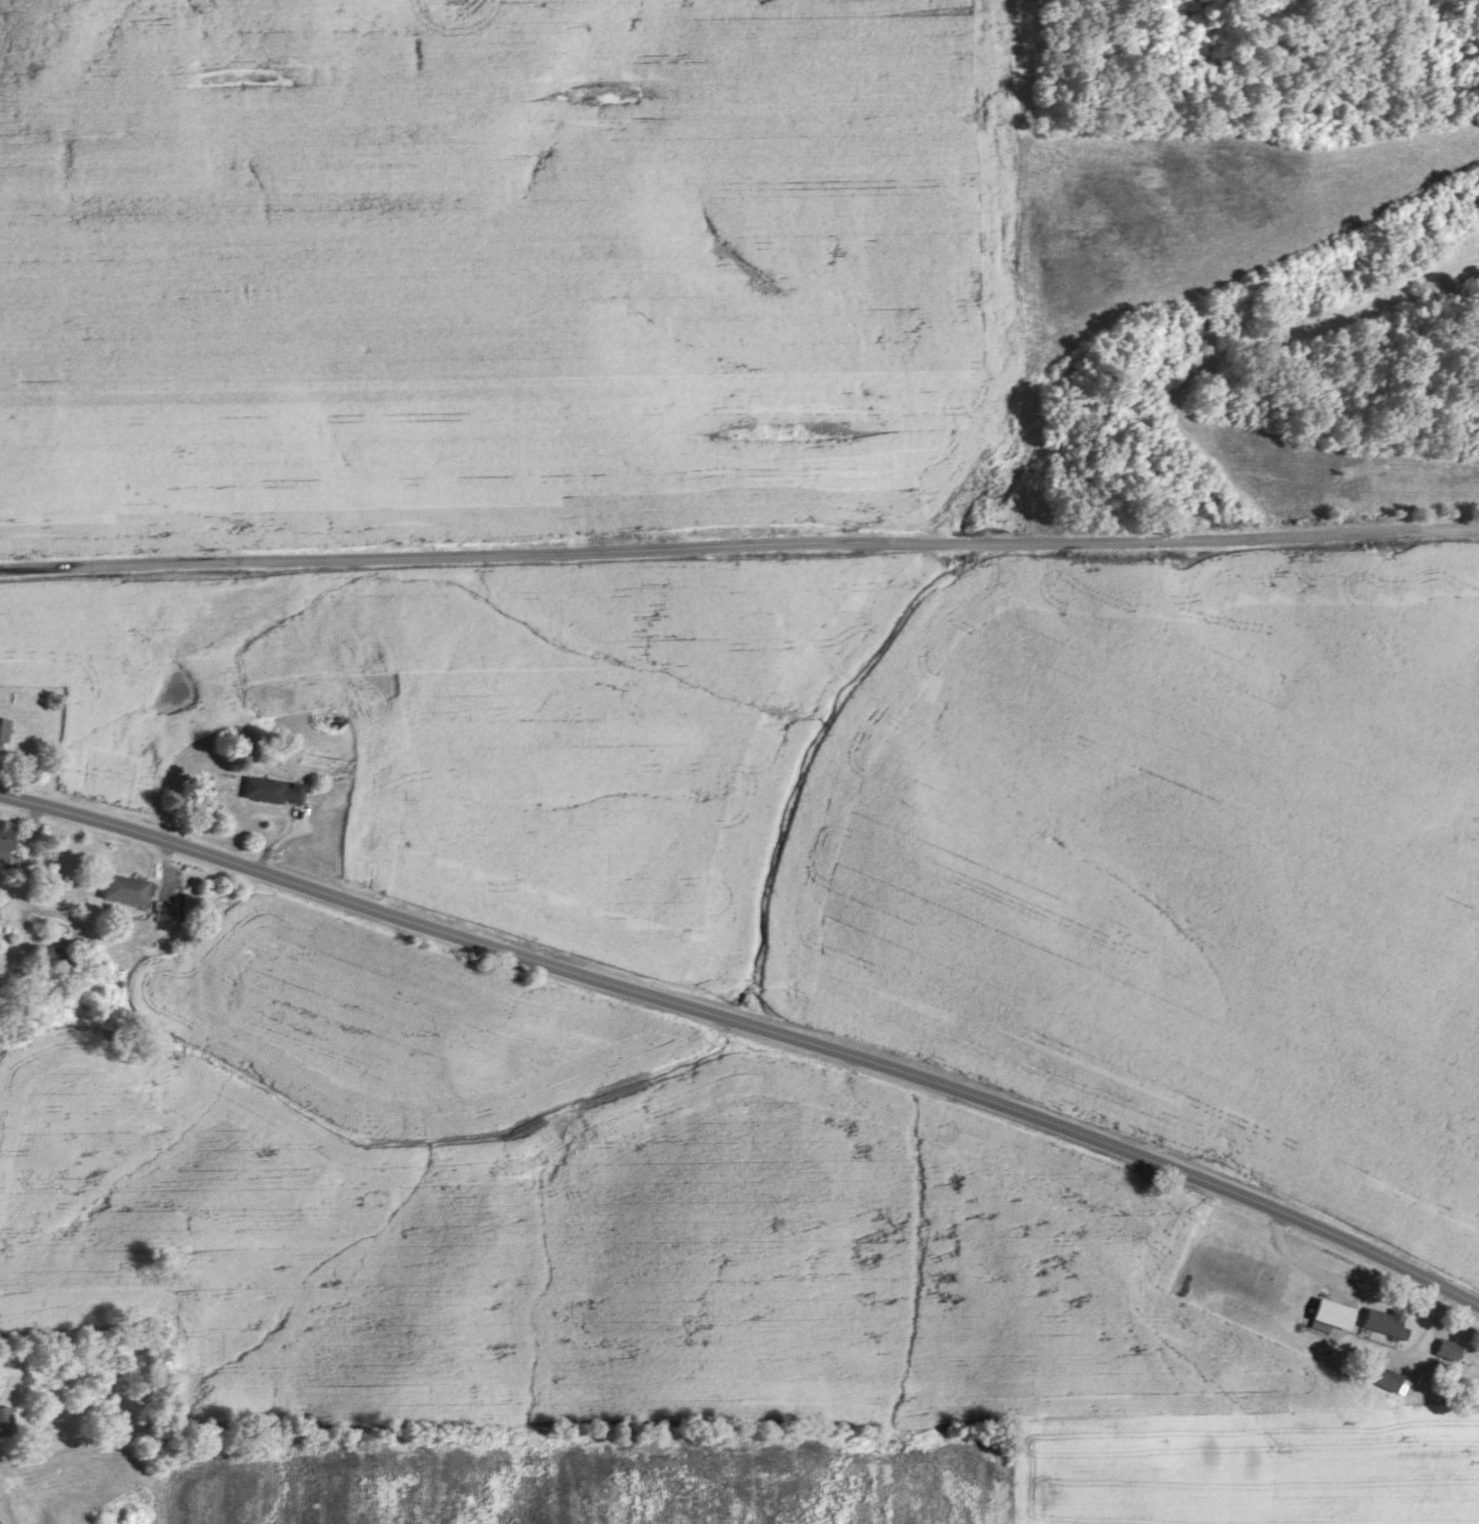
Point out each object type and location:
crop: (1469, 6)
crop: (500, 269)
road: (739, 544)
building: (4, 733)
building: (323, 747)
building: (273, 791)
crop: (991, 825)
building: (5, 836)
building: (126, 888)
building: (167, 912)
building: (53, 955)
road: (748, 1025)
crop: (646, 1247)
building: (1332, 1313)
building: (1388, 1323)
building: (1449, 1349)
building: (2, 1378)
building: (1389, 1379)
building: (6, 1422)

